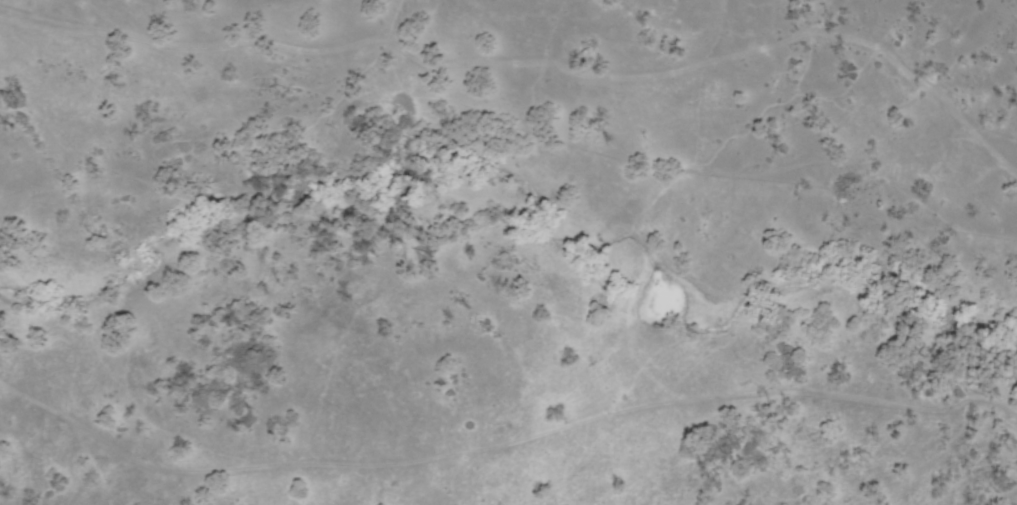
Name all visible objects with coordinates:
road: (537, 60)
road: (508, 437)

